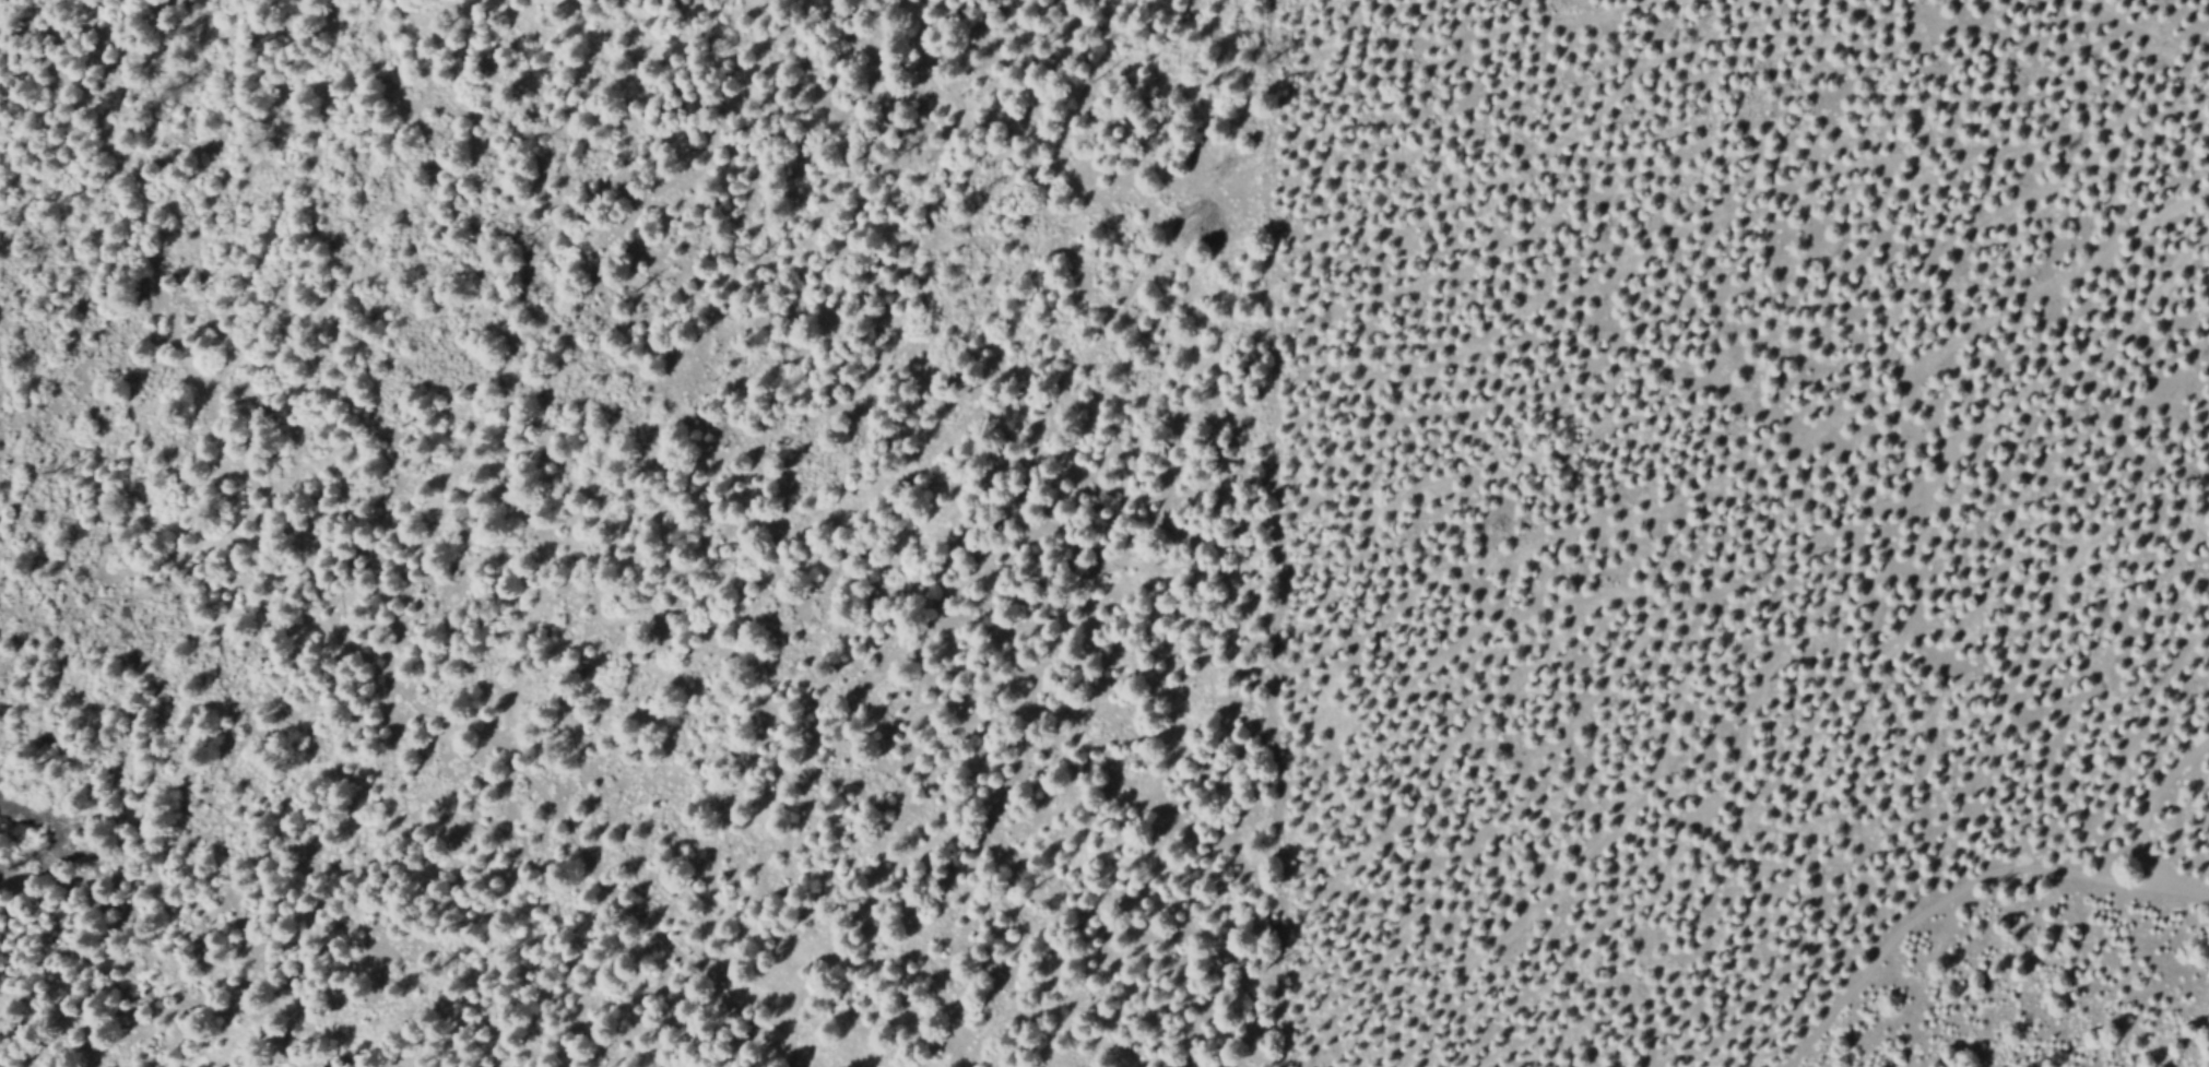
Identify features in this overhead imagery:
road: (1961, 886)

